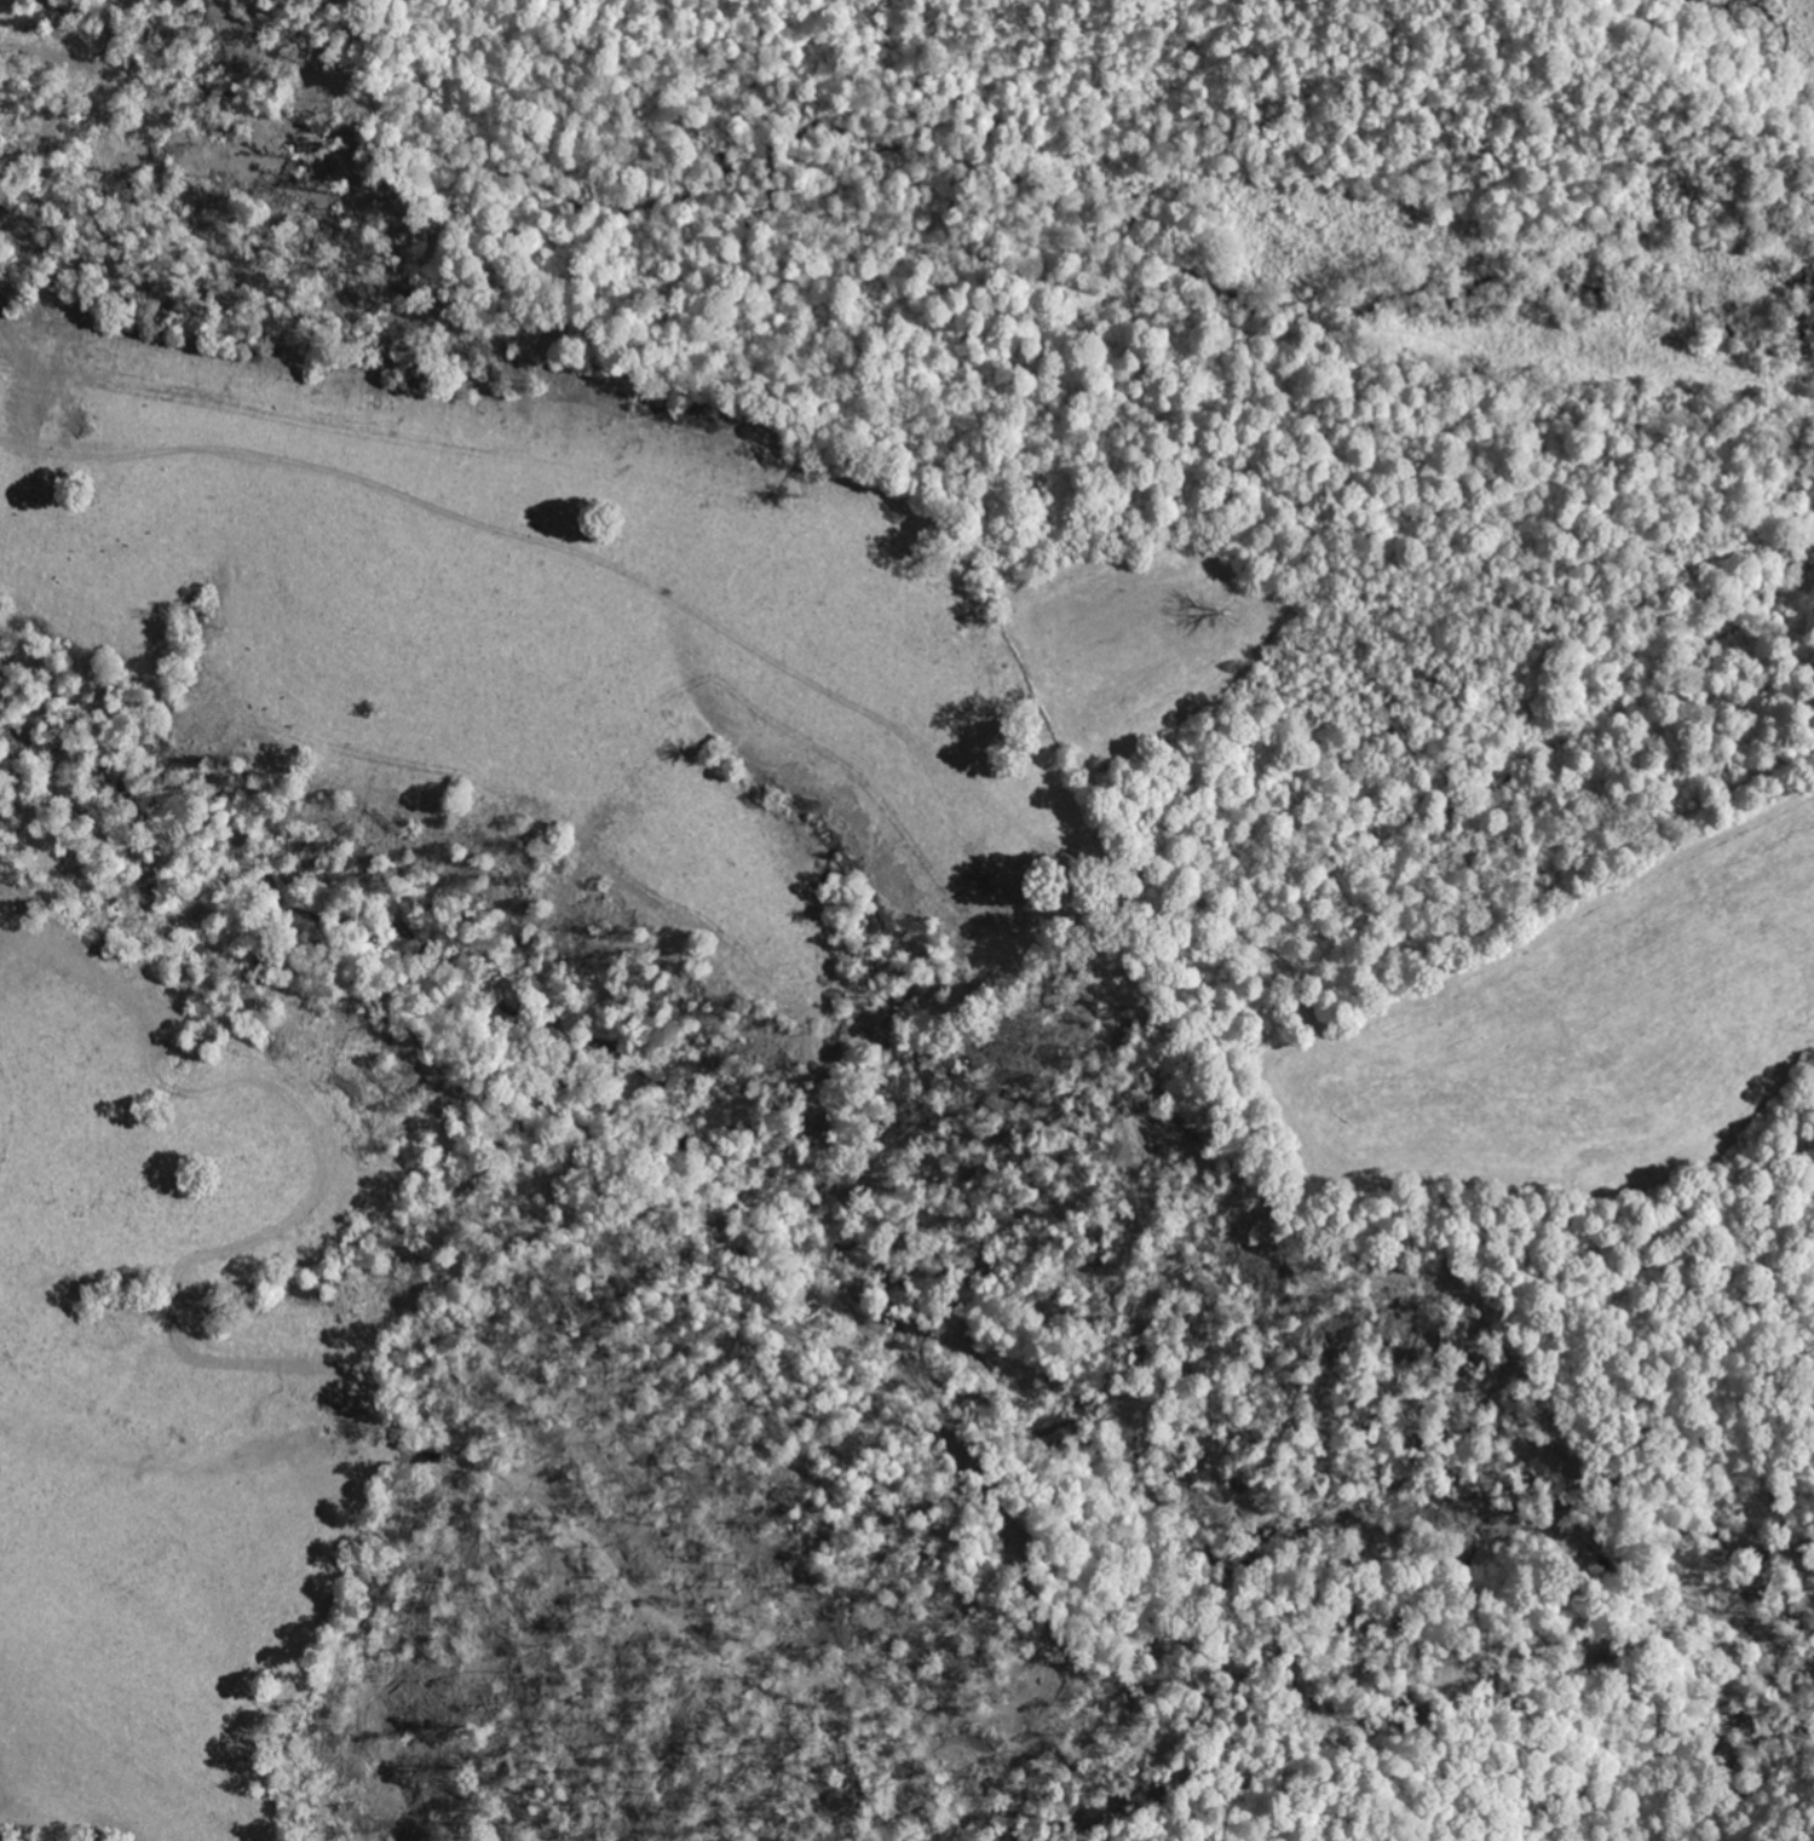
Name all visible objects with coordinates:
road: (1768, 453)

